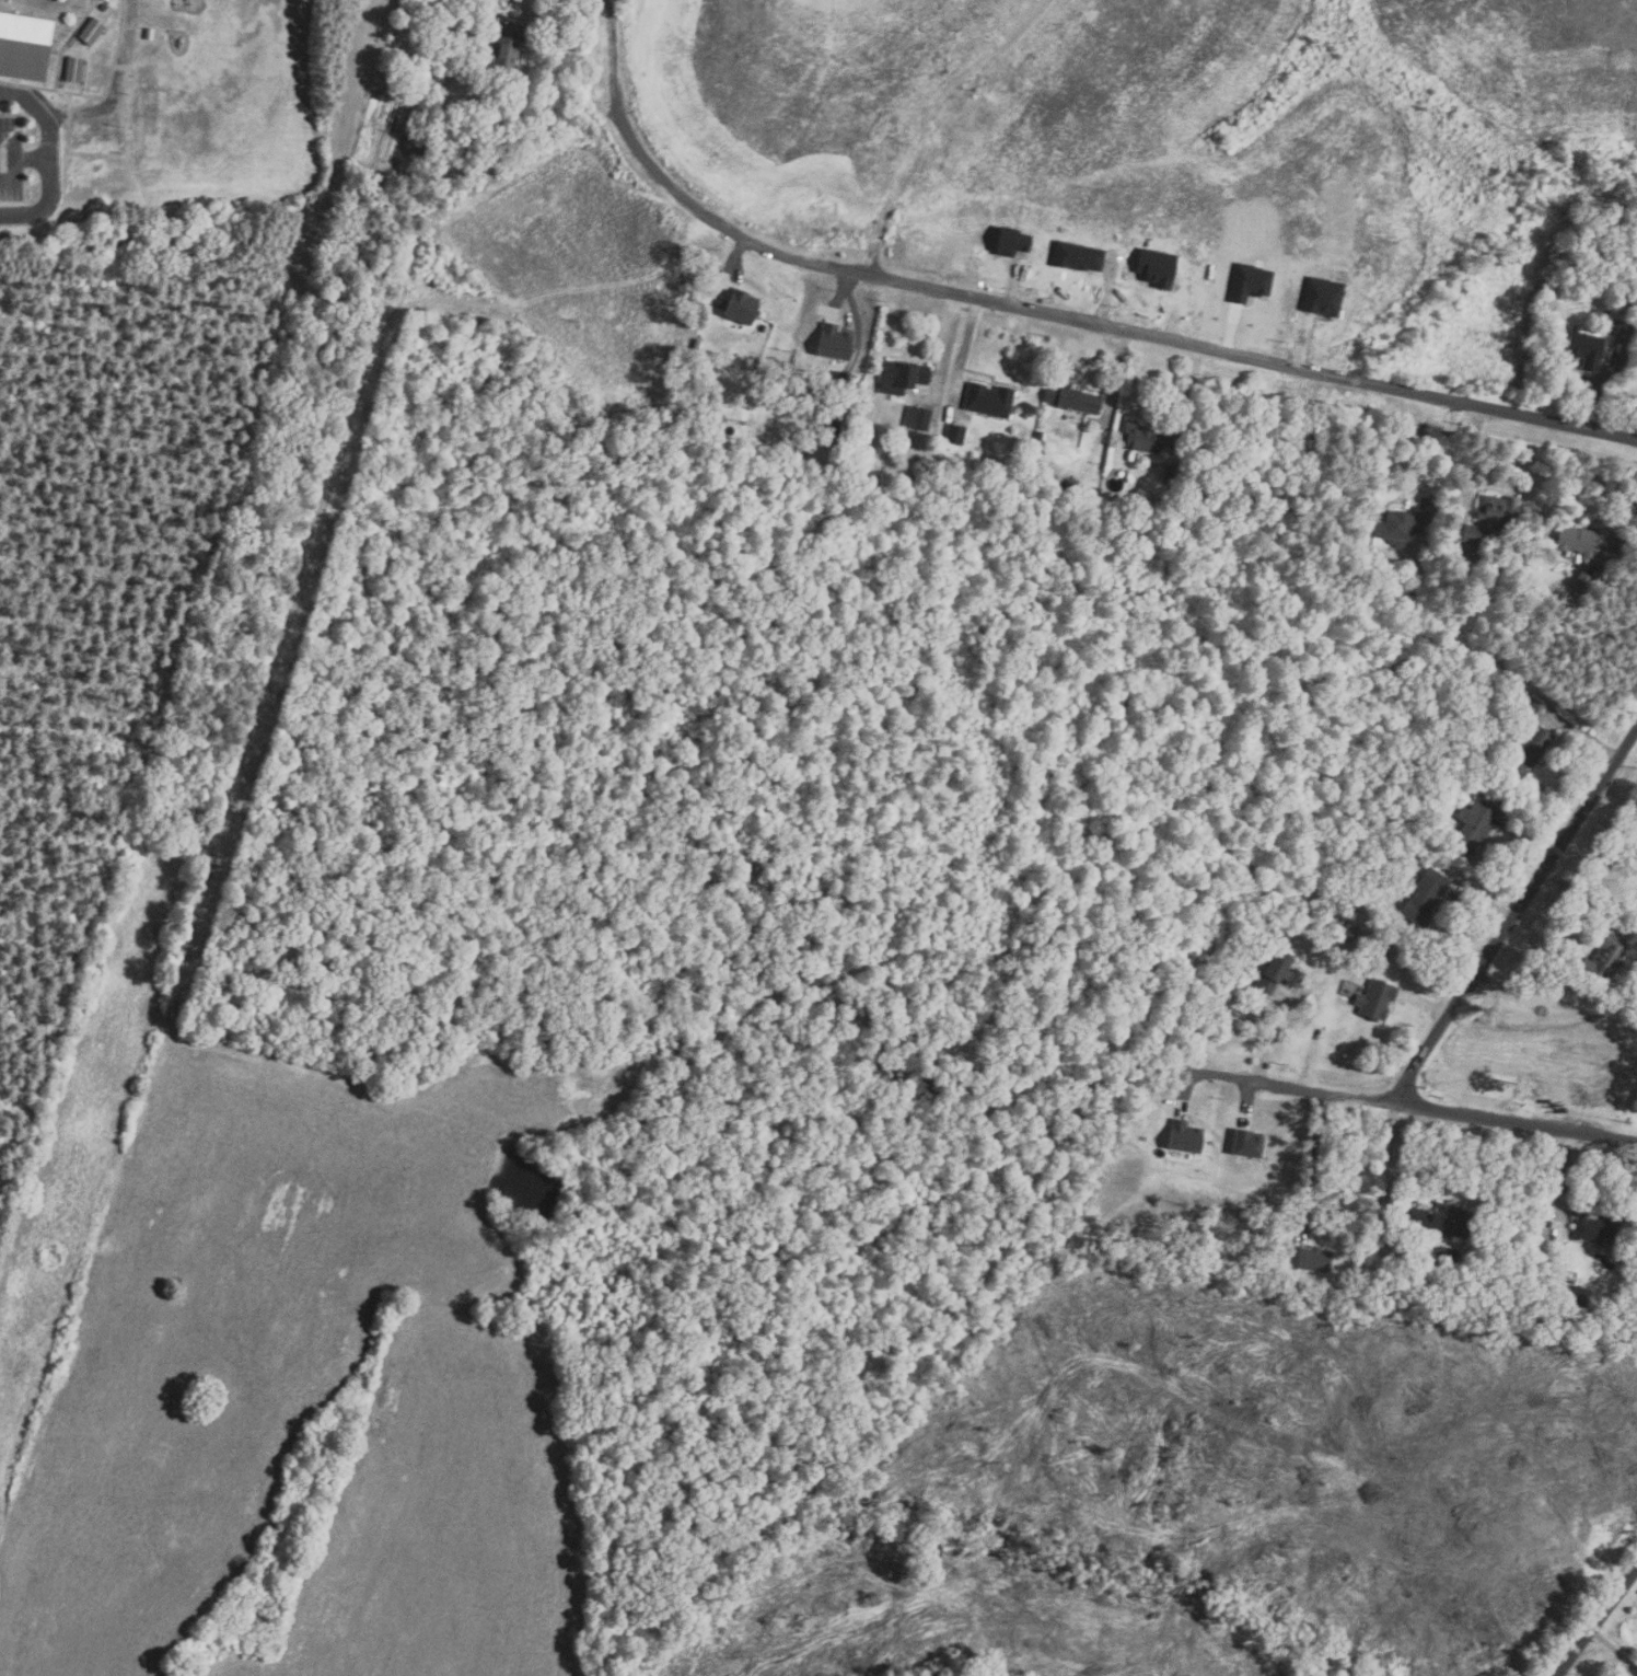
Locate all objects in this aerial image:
building: (104, 7)
building: (93, 32)
building: (507, 42)
building: (25, 46)
building: (76, 70)
road: (552, 73)
building: (416, 143)
parking lot: (11, 159)
road: (14, 159)
road: (32, 159)
road: (50, 159)
building: (1014, 242)
building: (1077, 255)
road: (734, 264)
building: (1156, 266)
building: (1250, 282)
road: (848, 285)
road: (1013, 285)
road: (1107, 289)
building: (1630, 297)
building: (1324, 298)
building: (744, 305)
road: (1179, 309)
road: (1044, 313)
building: (1617, 326)
road: (1231, 332)
building: (836, 340)
road: (1304, 344)
road: (945, 346)
road: (964, 347)
building: (1584, 349)
building: (905, 375)
road: (1121, 375)
building: (1075, 397)
building: (990, 398)
road: (1198, 402)
road: (1588, 409)
building: (919, 416)
building: (956, 432)
building: (1040, 434)
building: (1152, 437)
road: (1448, 448)
building: (1182, 477)
building: (910, 479)
building: (1072, 485)
building: (1161, 502)
building: (1500, 510)
building: (1400, 524)
building: (1473, 534)
building: (1579, 539)
road: (1622, 540)
building: (1582, 579)
building: (1417, 593)
building: (1481, 671)
building: (1531, 707)
road: (1583, 736)
building: (1523, 751)
road: (1618, 798)
building: (1471, 823)
road: (1530, 835)
building: (1331, 849)
road: (1598, 870)
building: (1420, 895)
road: (1485, 899)
road: (1583, 900)
road: (1516, 911)
building: (1346, 932)
building: (1372, 949)
building: (1600, 958)
building: (1280, 972)
building: (1372, 999)
road: (1427, 1003)
road: (1276, 1038)
road: (1193, 1084)
road: (1249, 1100)
road: (1427, 1100)
building: (1186, 1137)
building: (1251, 1147)
road: (1392, 1154)
road: (1313, 1161)
road: (1564, 1169)
building: (1444, 1218)
building: (1592, 1224)
building: (1315, 1259)
building: (1570, 1276)
building: (1577, 1296)
road: (1597, 1621)

